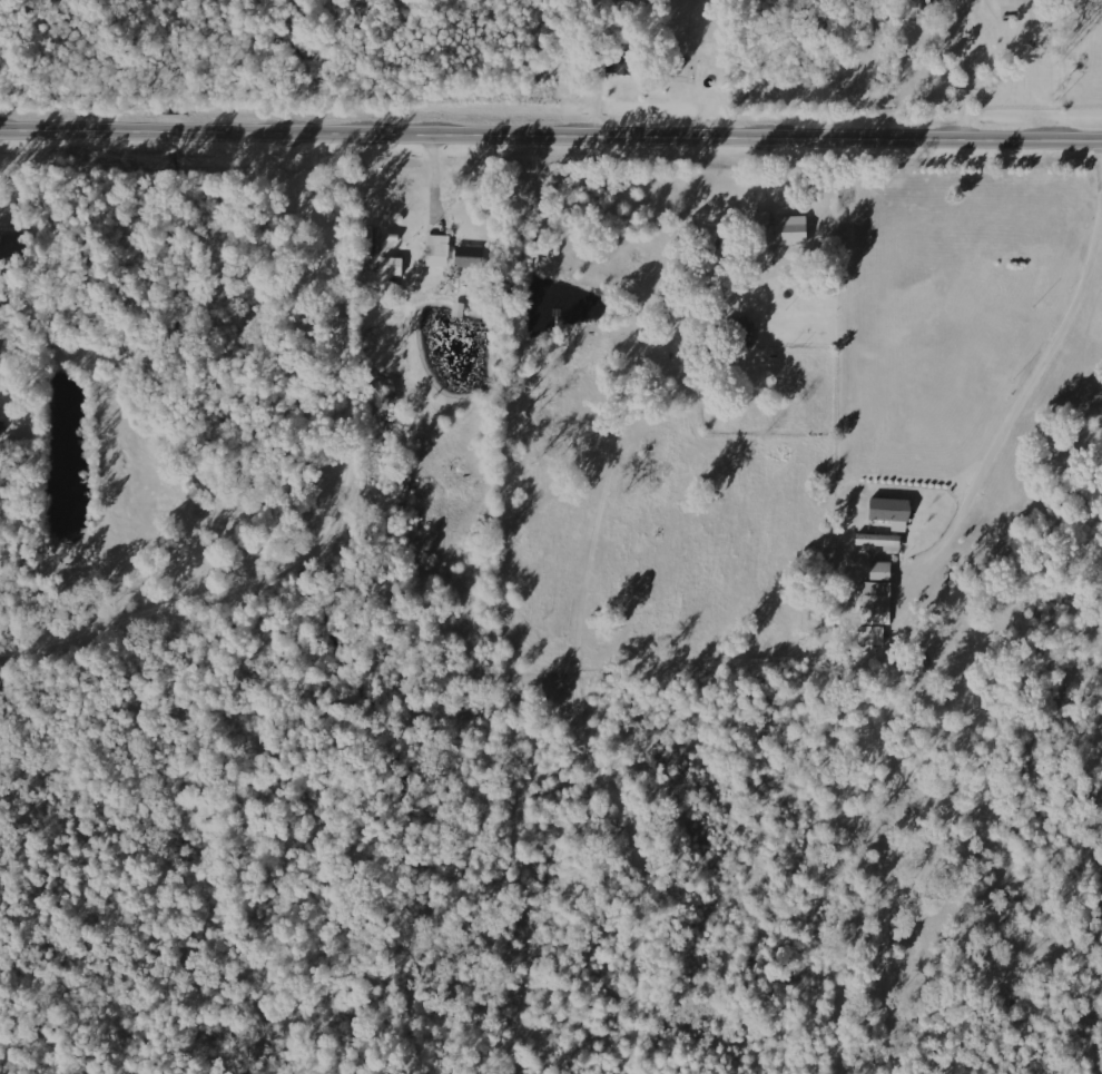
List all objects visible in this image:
building: (616, 61)
road: (551, 134)
building: (778, 228)
building: (435, 249)
building: (466, 259)
building: (392, 265)
building: (744, 332)
building: (888, 511)
building: (875, 602)
road: (552, 723)

